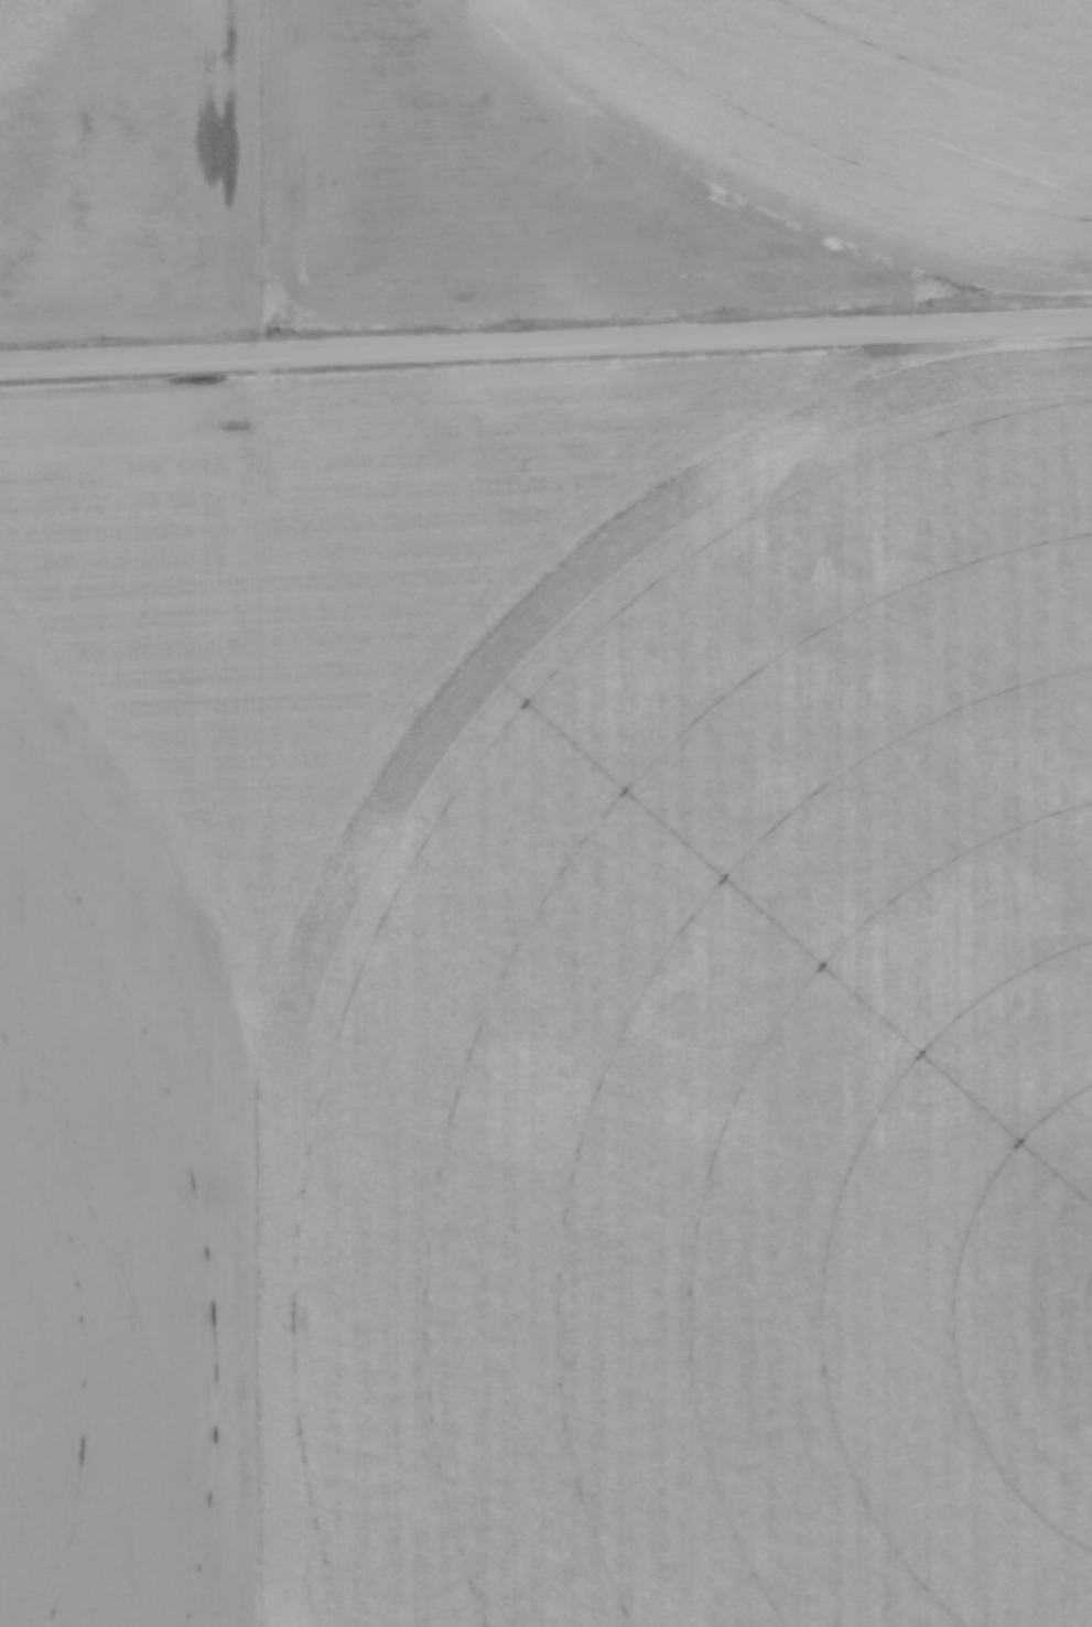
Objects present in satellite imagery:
road: (545, 345)

